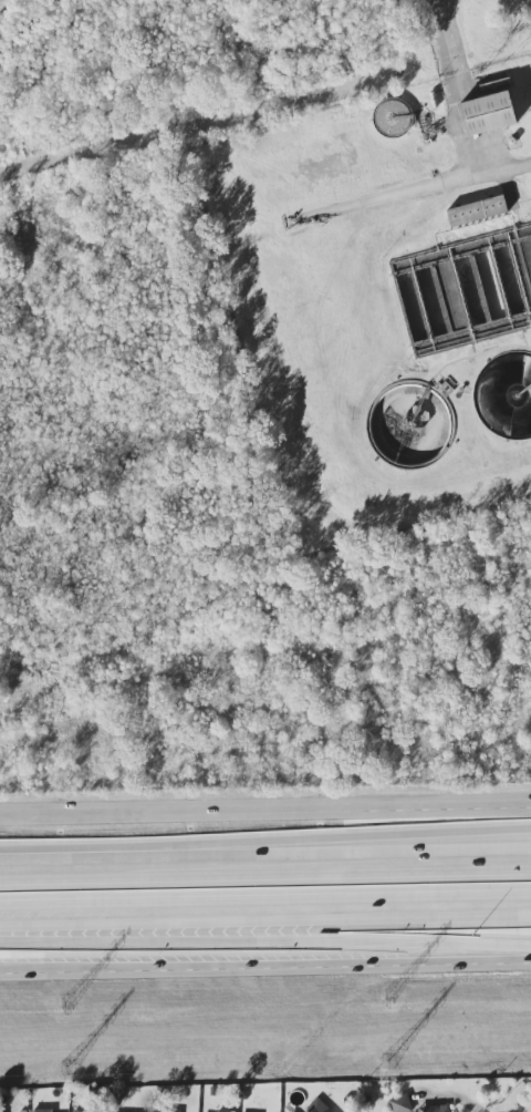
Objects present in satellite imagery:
road: (456, 92)
building: (487, 114)
road: (414, 196)
building: (477, 212)
wastewater plant: (397, 294)
road: (265, 806)
road: (385, 856)
road: (264, 873)
road: (265, 902)
road: (264, 936)
road: (264, 966)
power tower: (387, 1000)
power tower: (64, 1007)
power tower: (387, 1054)
power tower: (65, 1063)
building: (399, 1104)
building: (317, 1105)
building: (435, 1109)
building: (42, 1110)
building: (169, 1111)
building: (225, 1111)

